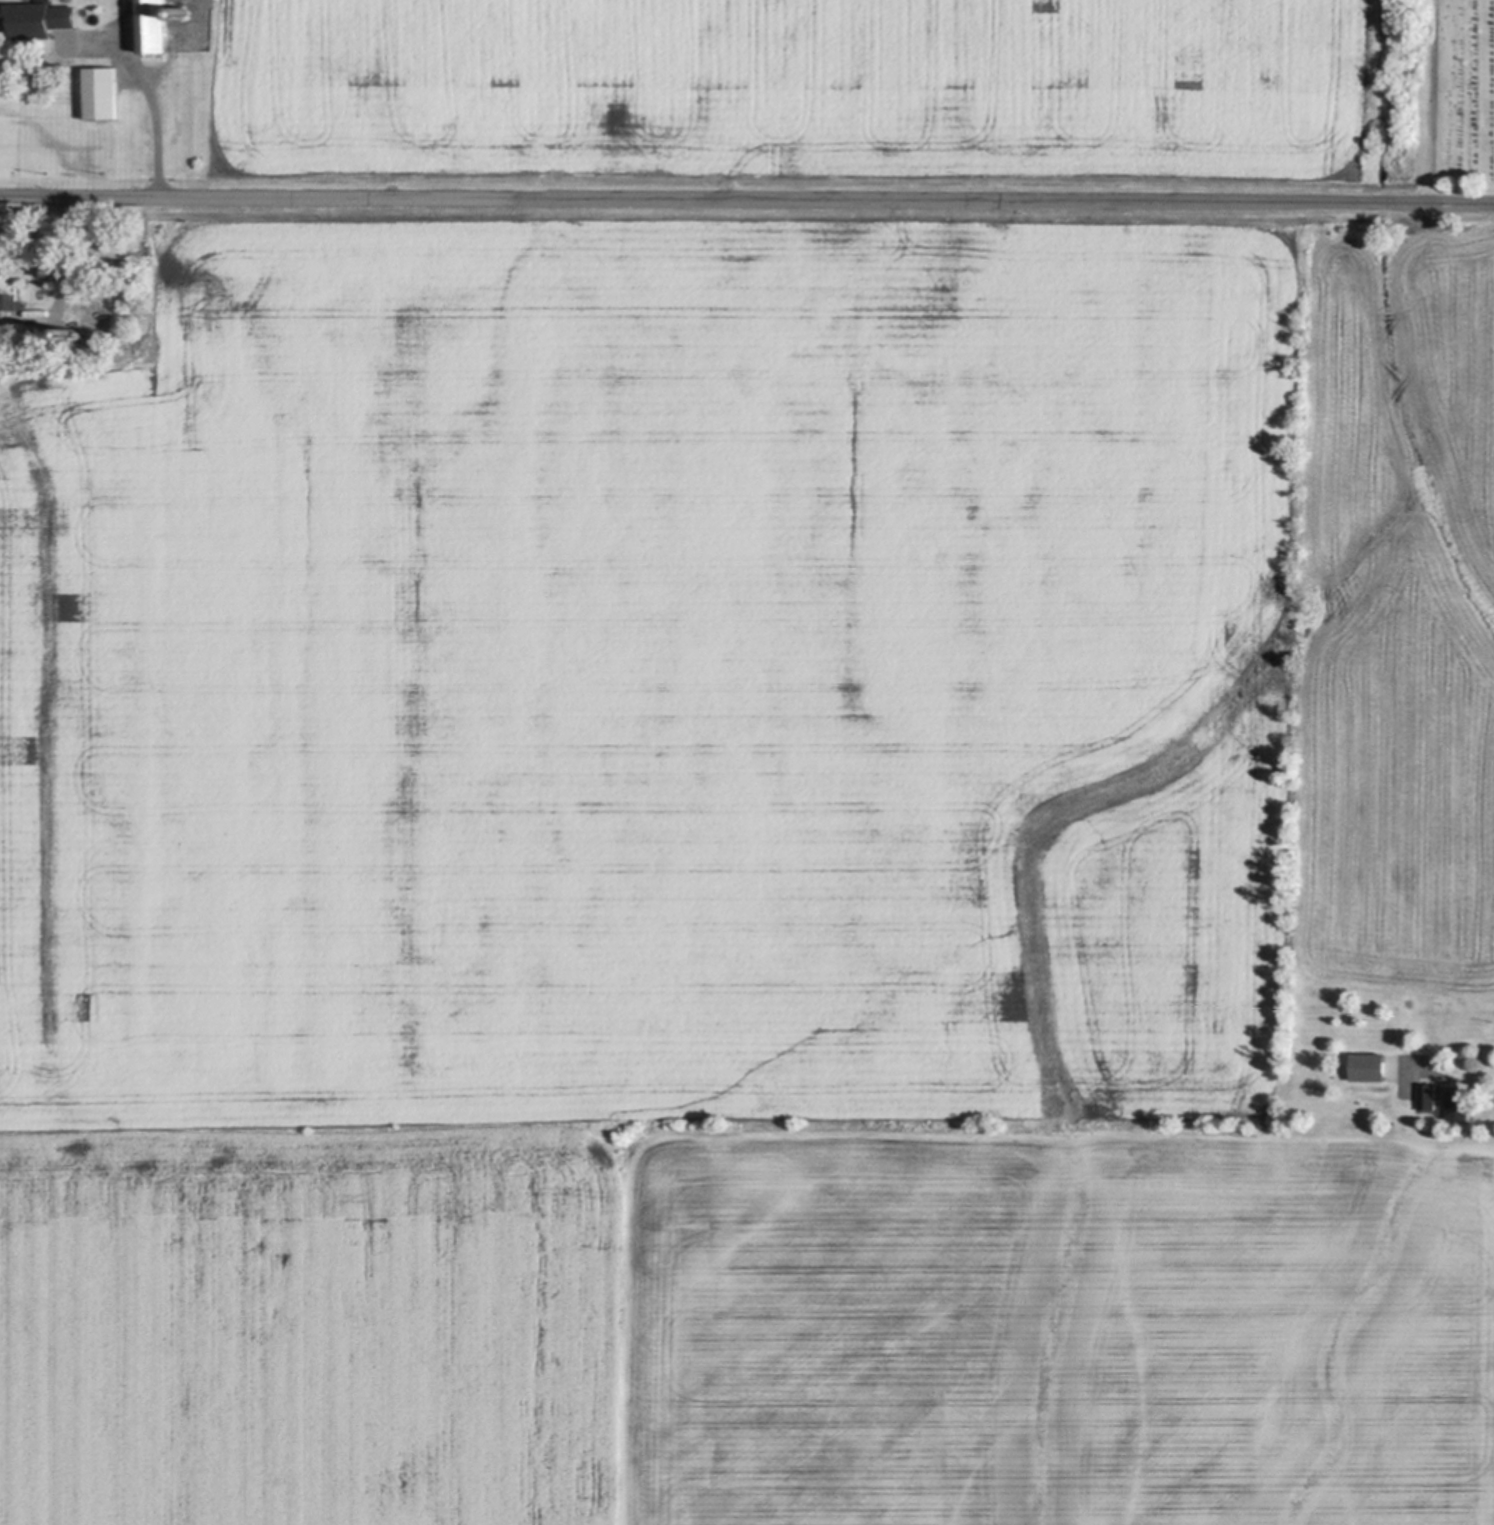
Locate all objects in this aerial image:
building: (187, 11)
building: (44, 14)
building: (157, 22)
building: (106, 86)
park: (1459, 96)
road: (158, 112)
road: (746, 200)
building: (47, 263)
road: (68, 273)
building: (12, 293)
building: (104, 319)
building: (75, 330)
building: (1372, 1064)
road: (1447, 1080)
building: (1431, 1095)
building: (1462, 1103)
building: (1394, 1104)

